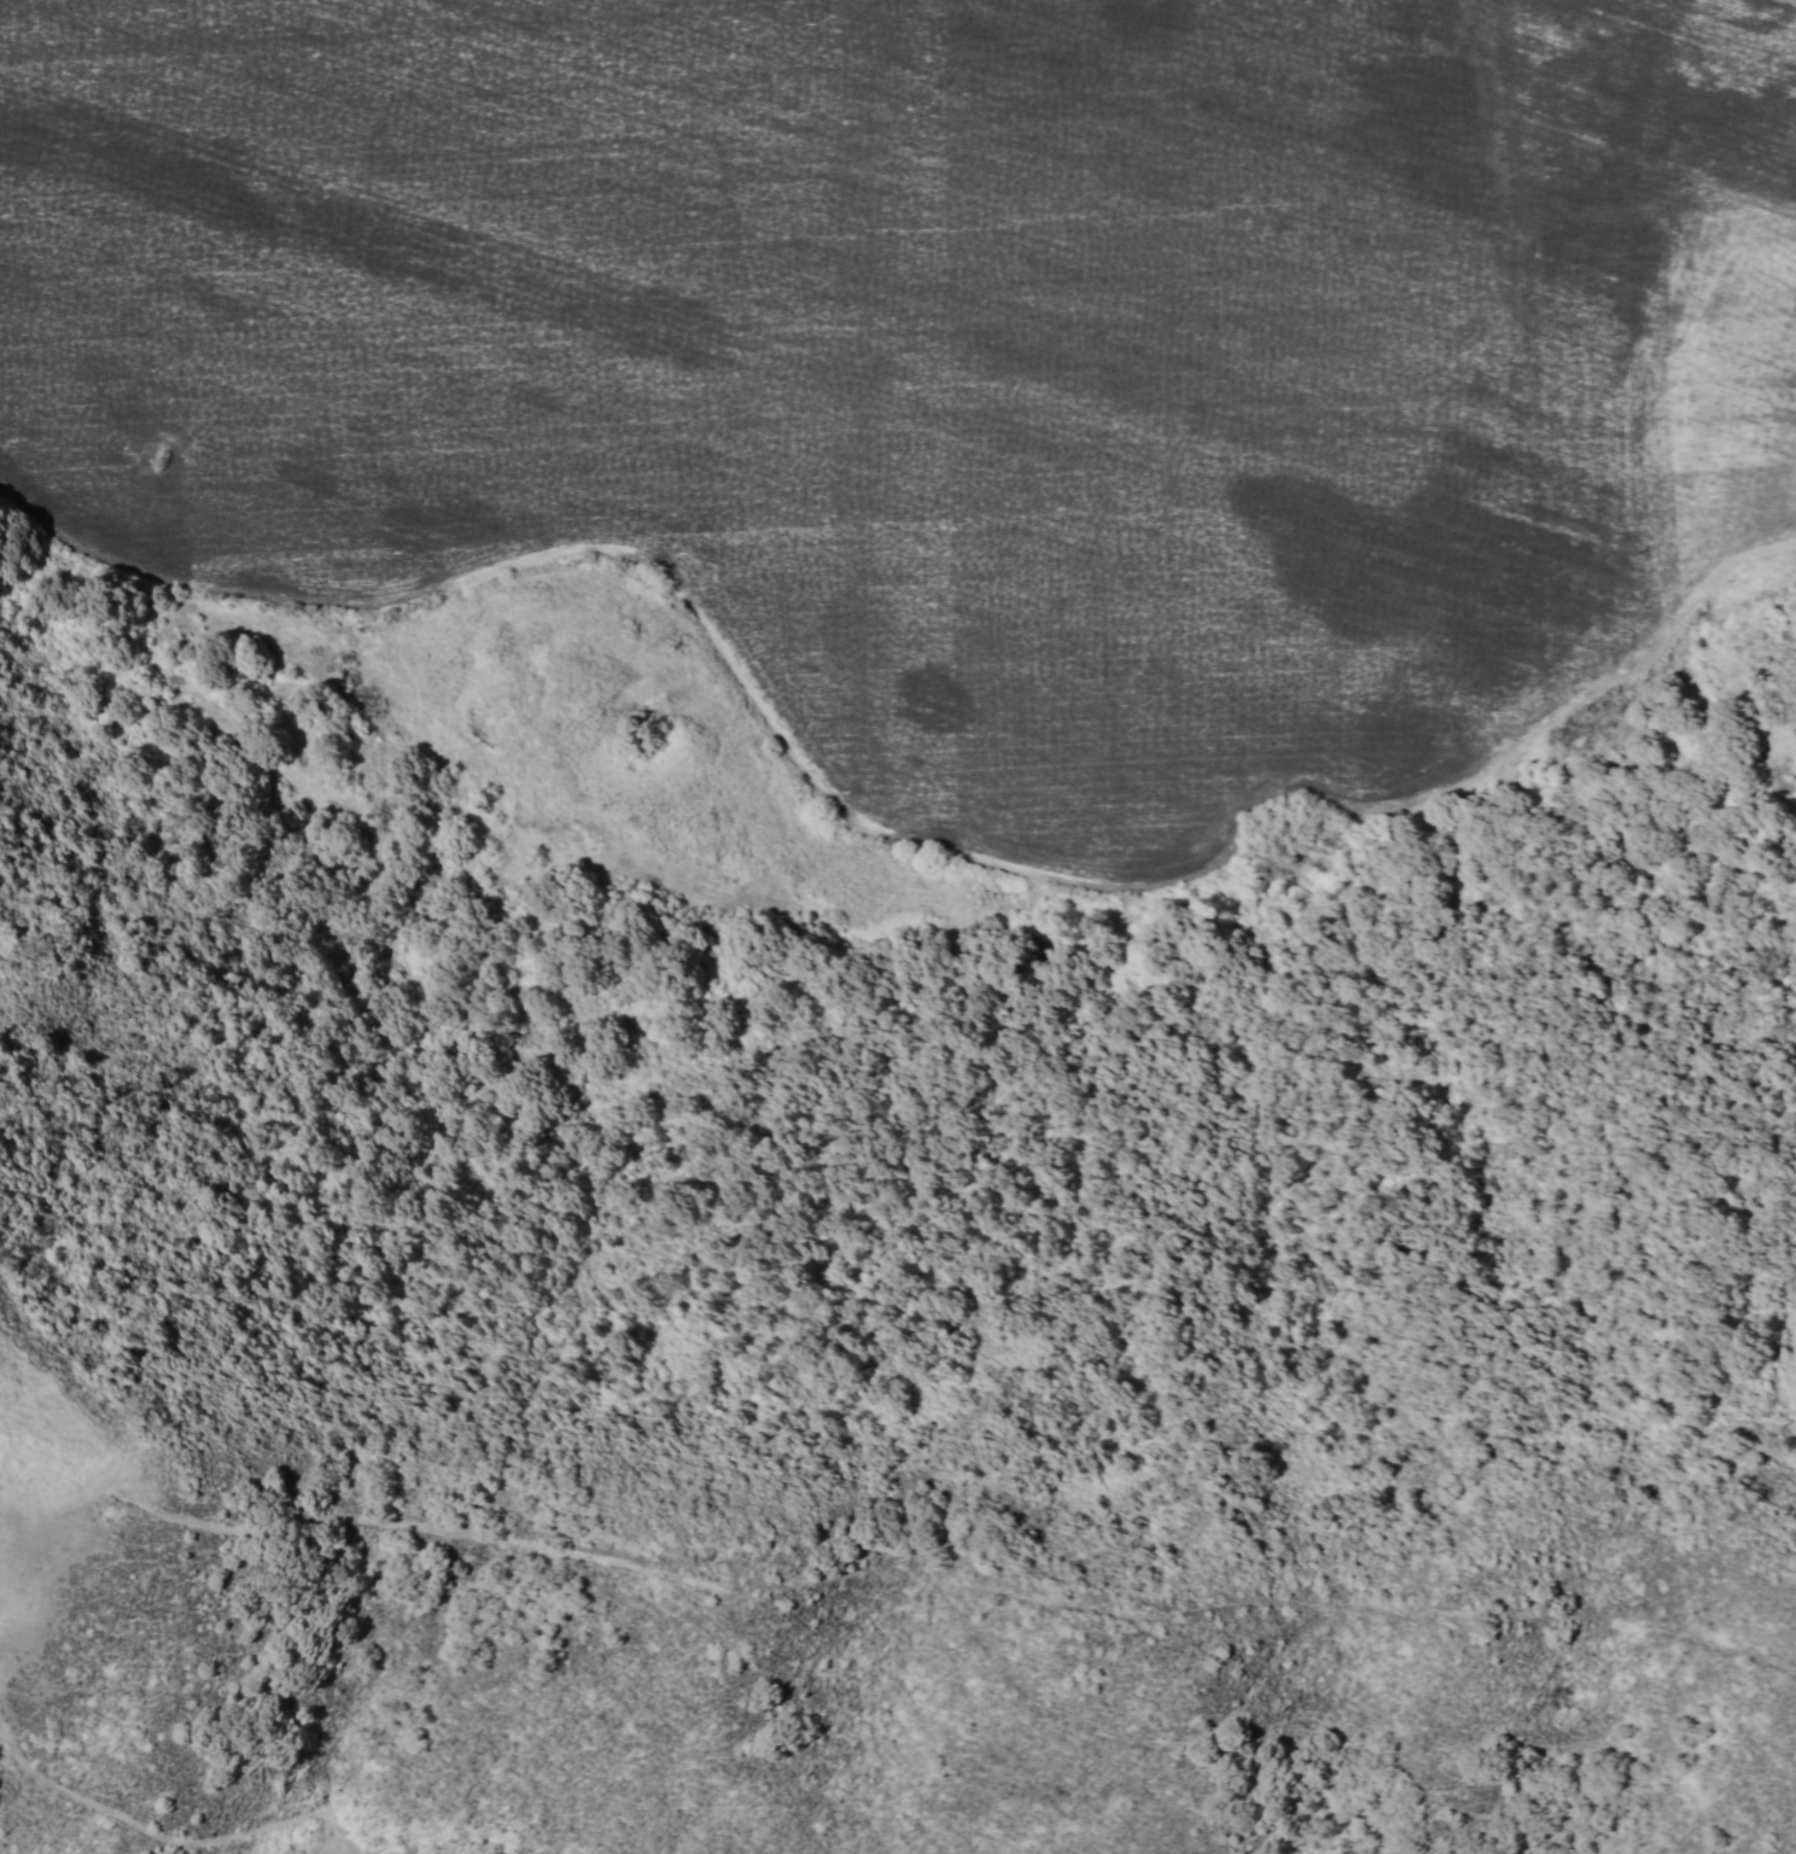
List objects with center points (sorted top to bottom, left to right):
crop: (926, 357)

